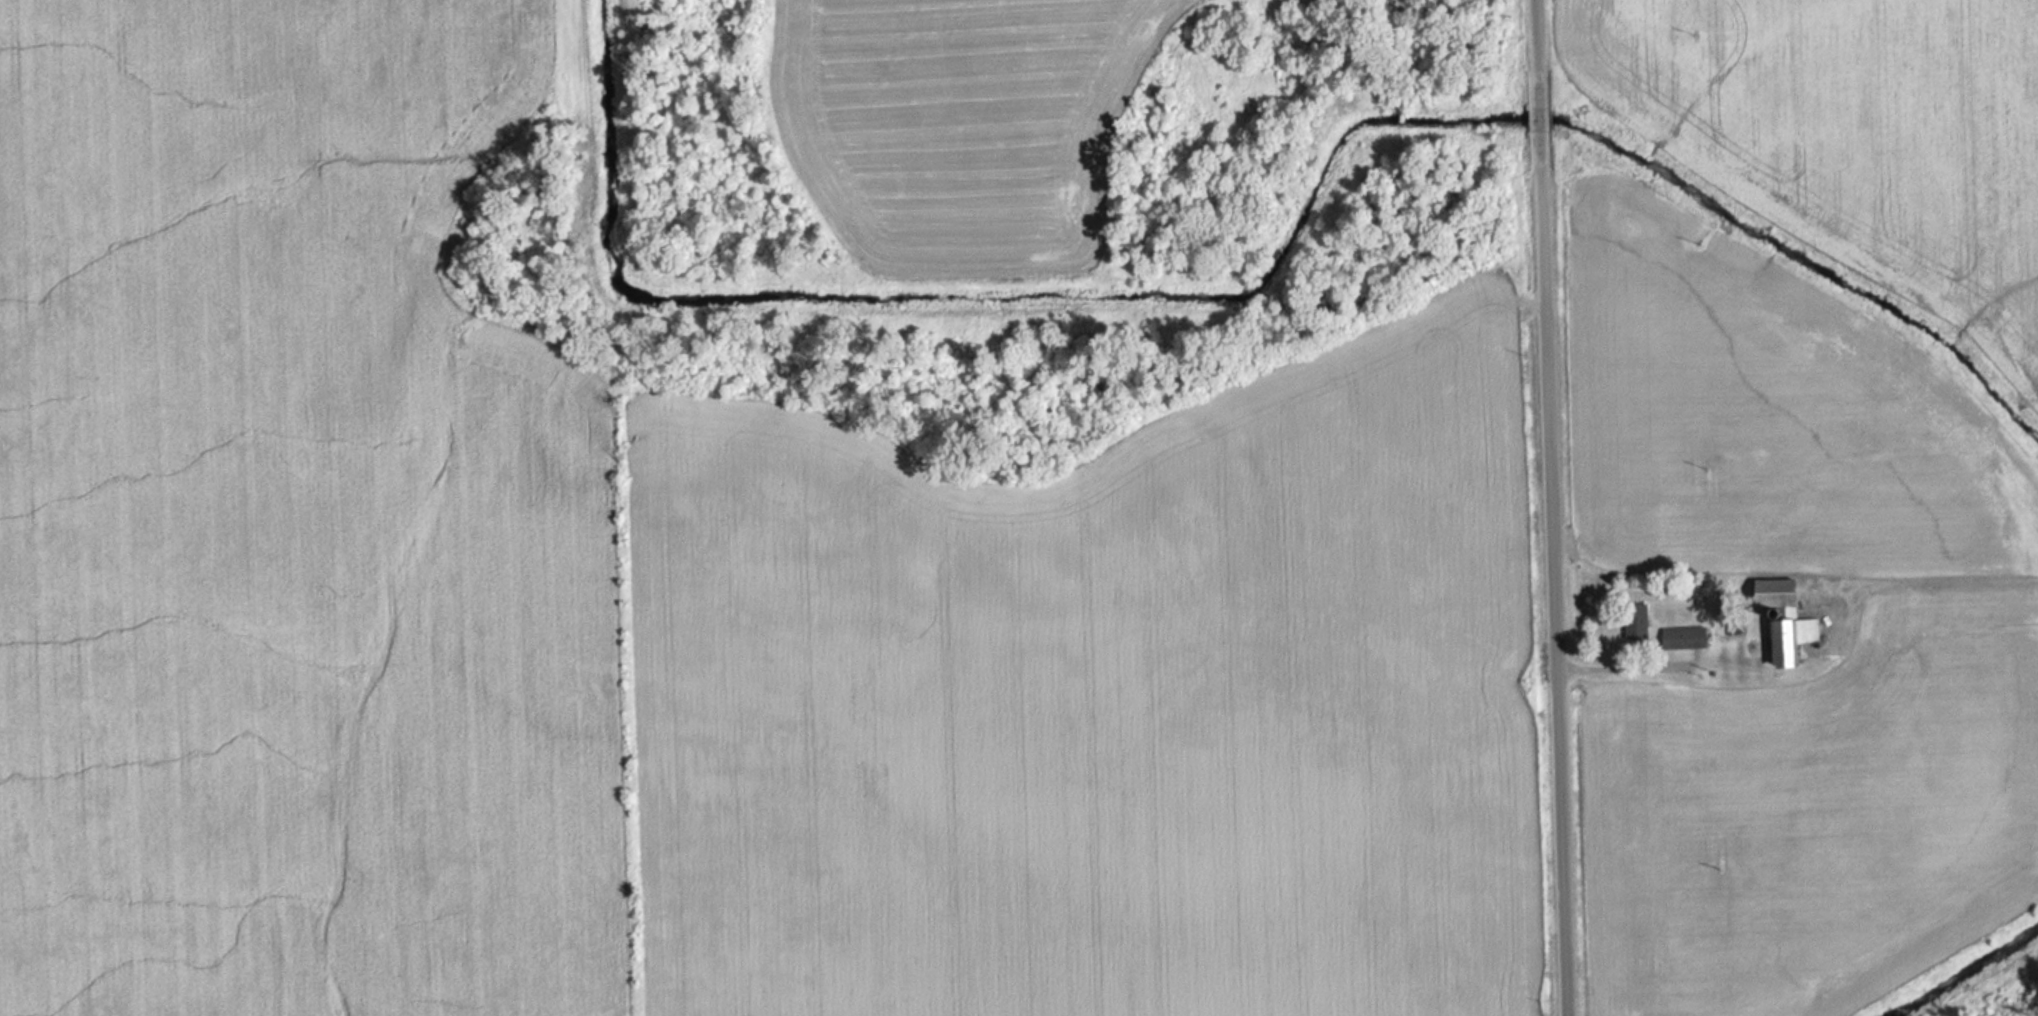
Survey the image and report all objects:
road: (1532, 55)
road: (1535, 120)
road: (1551, 573)
building: (1637, 622)
building: (1786, 622)
building: (1685, 637)

